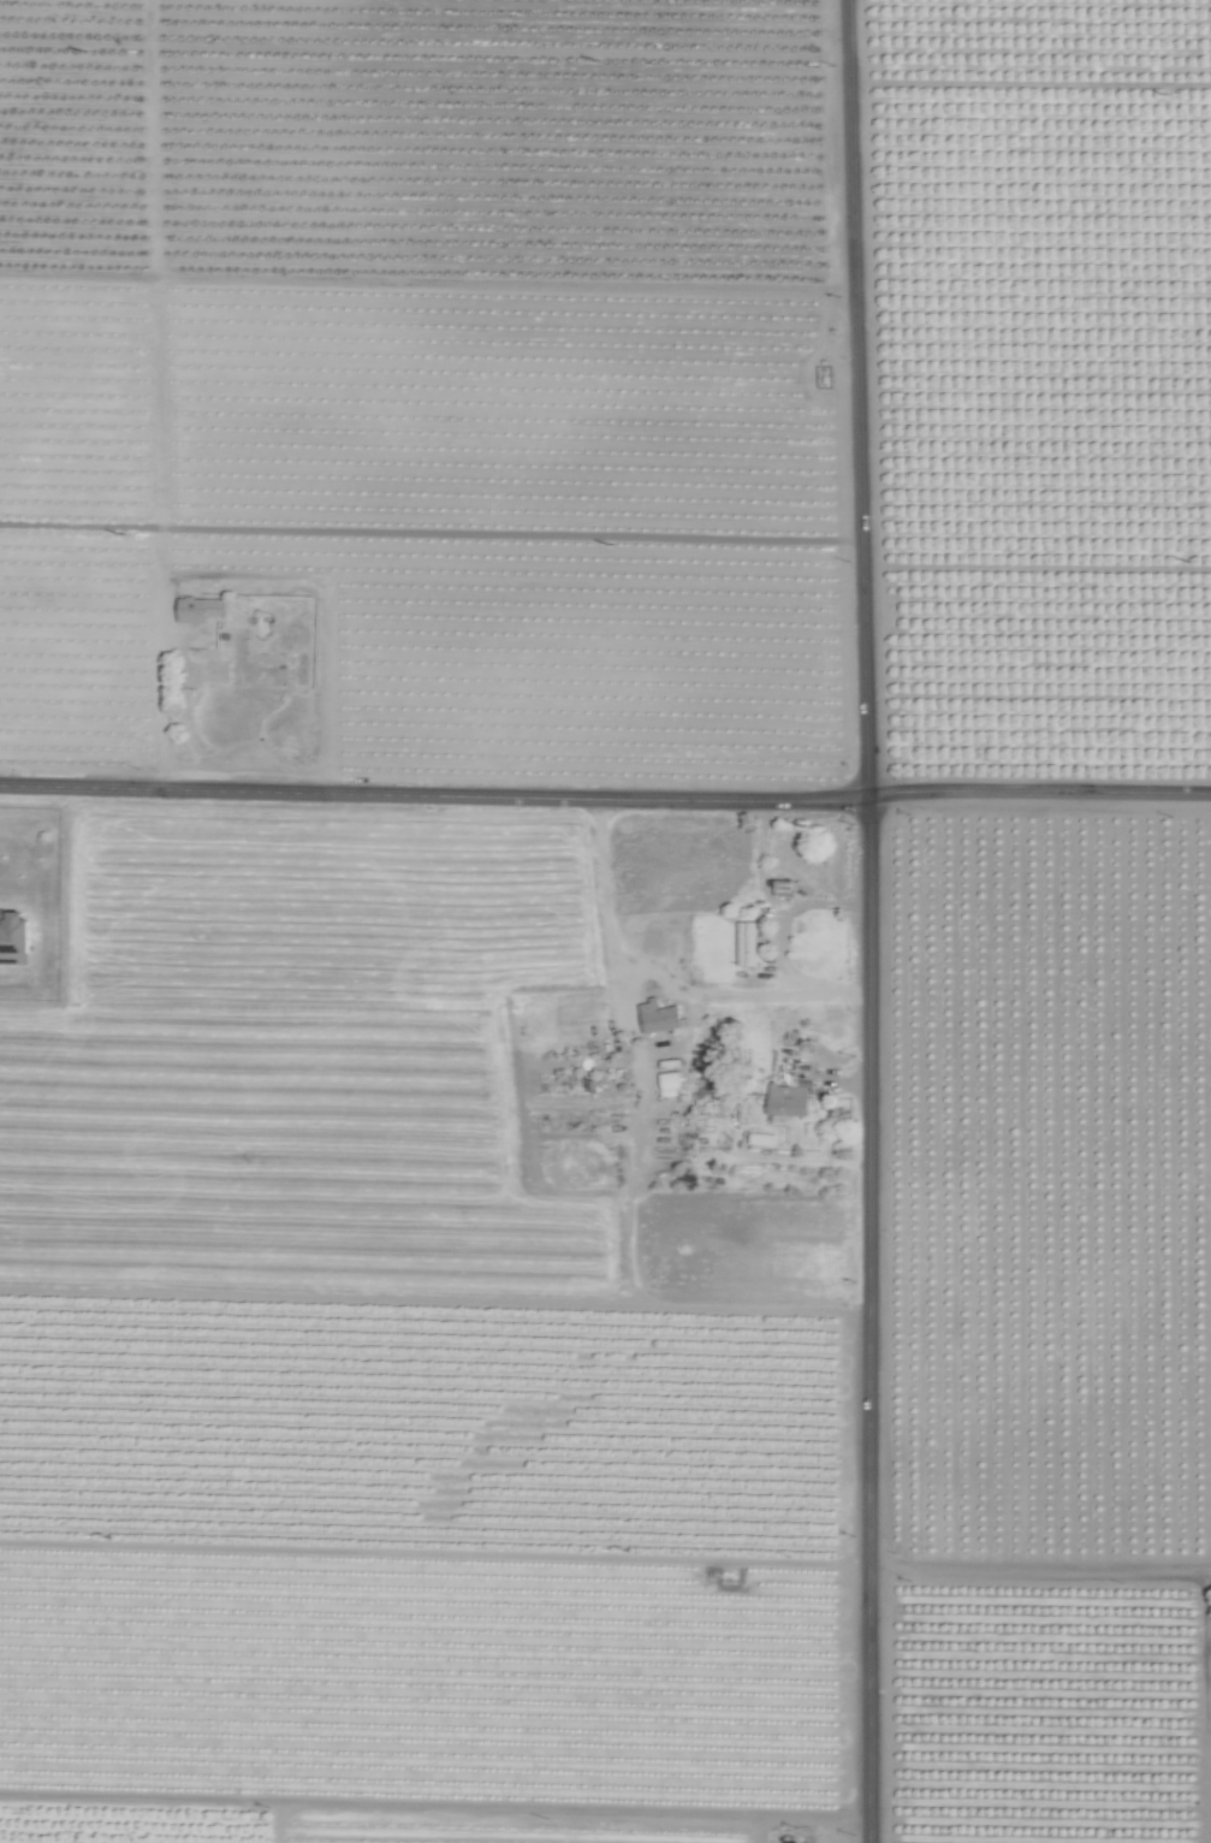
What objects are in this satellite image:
road: (857, 398)
building: (214, 608)
road: (605, 799)
road: (790, 918)
building: (16, 936)
building: (747, 943)
road: (655, 985)
building: (660, 1017)
crop: (1051, 1049)
building: (671, 1079)
building: (788, 1097)
road: (625, 1251)
road: (863, 1320)
road: (1061, 1568)

